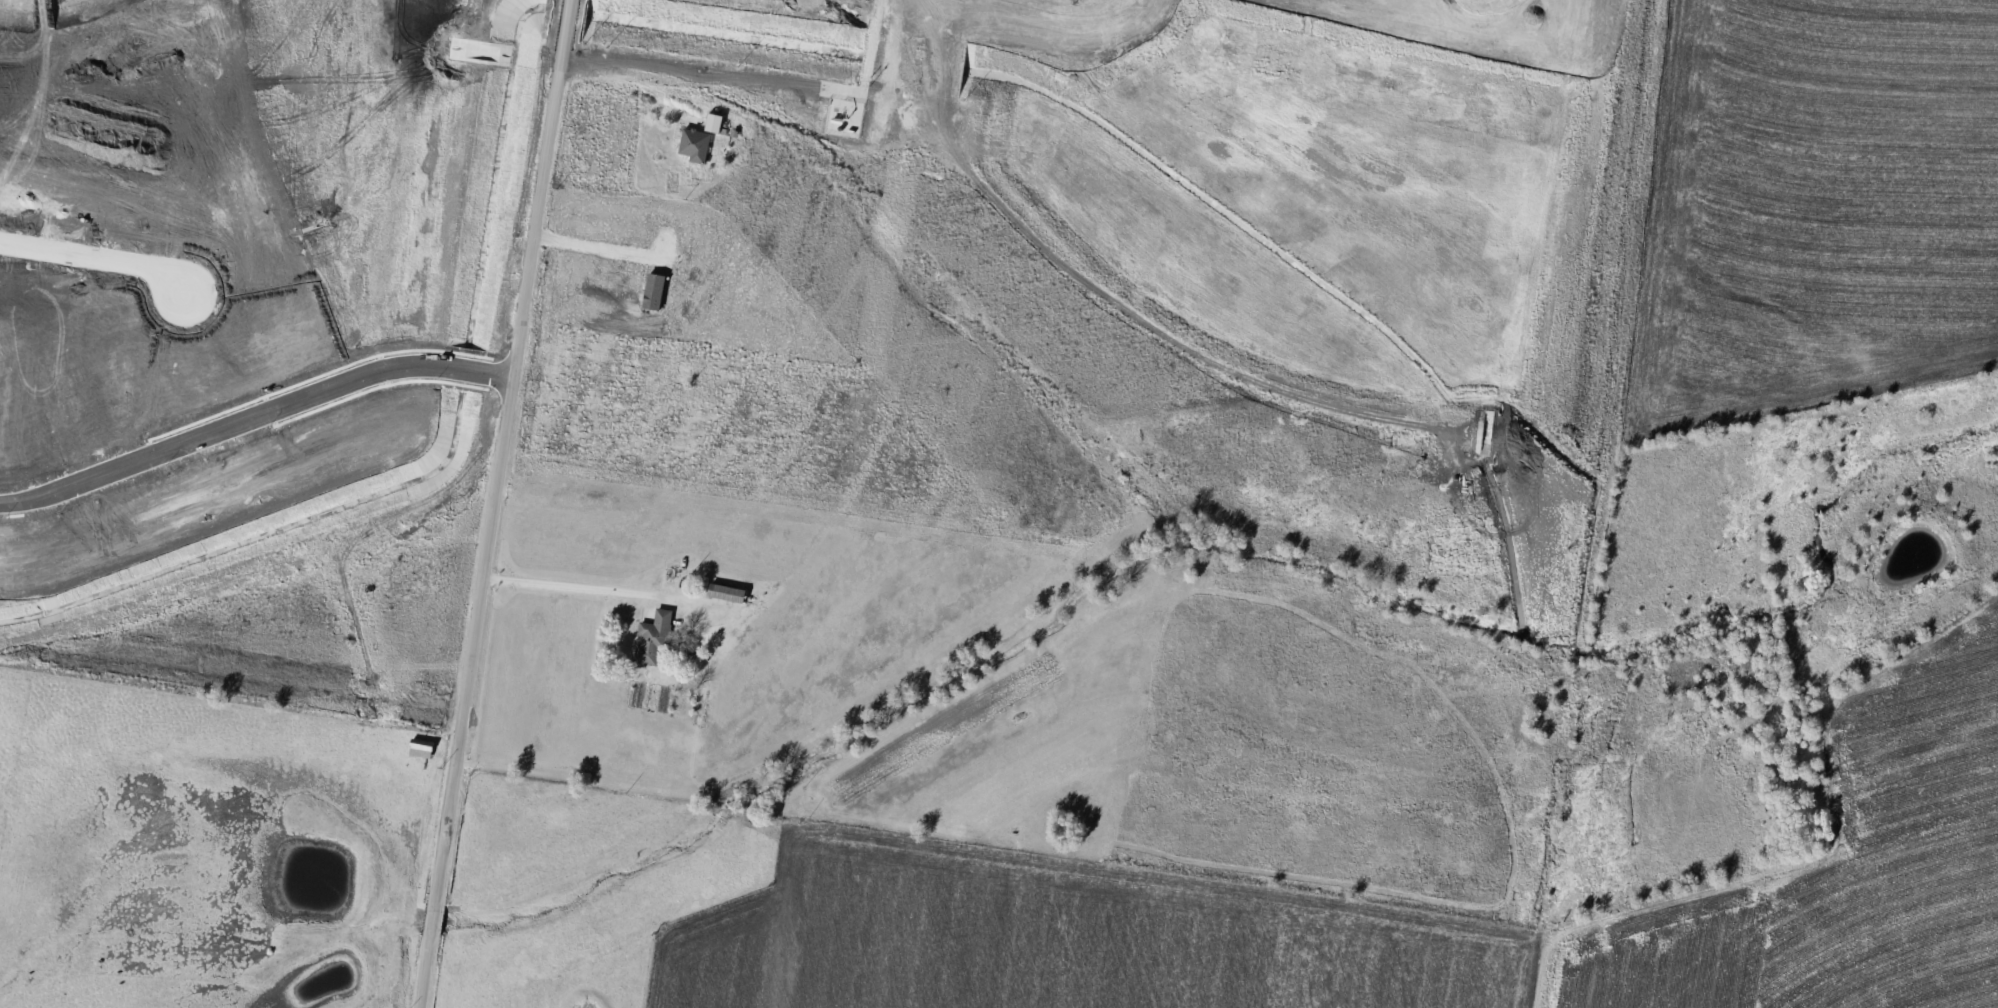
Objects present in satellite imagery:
road: (628, 86)
building: (695, 144)
road: (97, 260)
road: (253, 418)
road: (494, 503)
road: (577, 590)
building: (653, 640)

